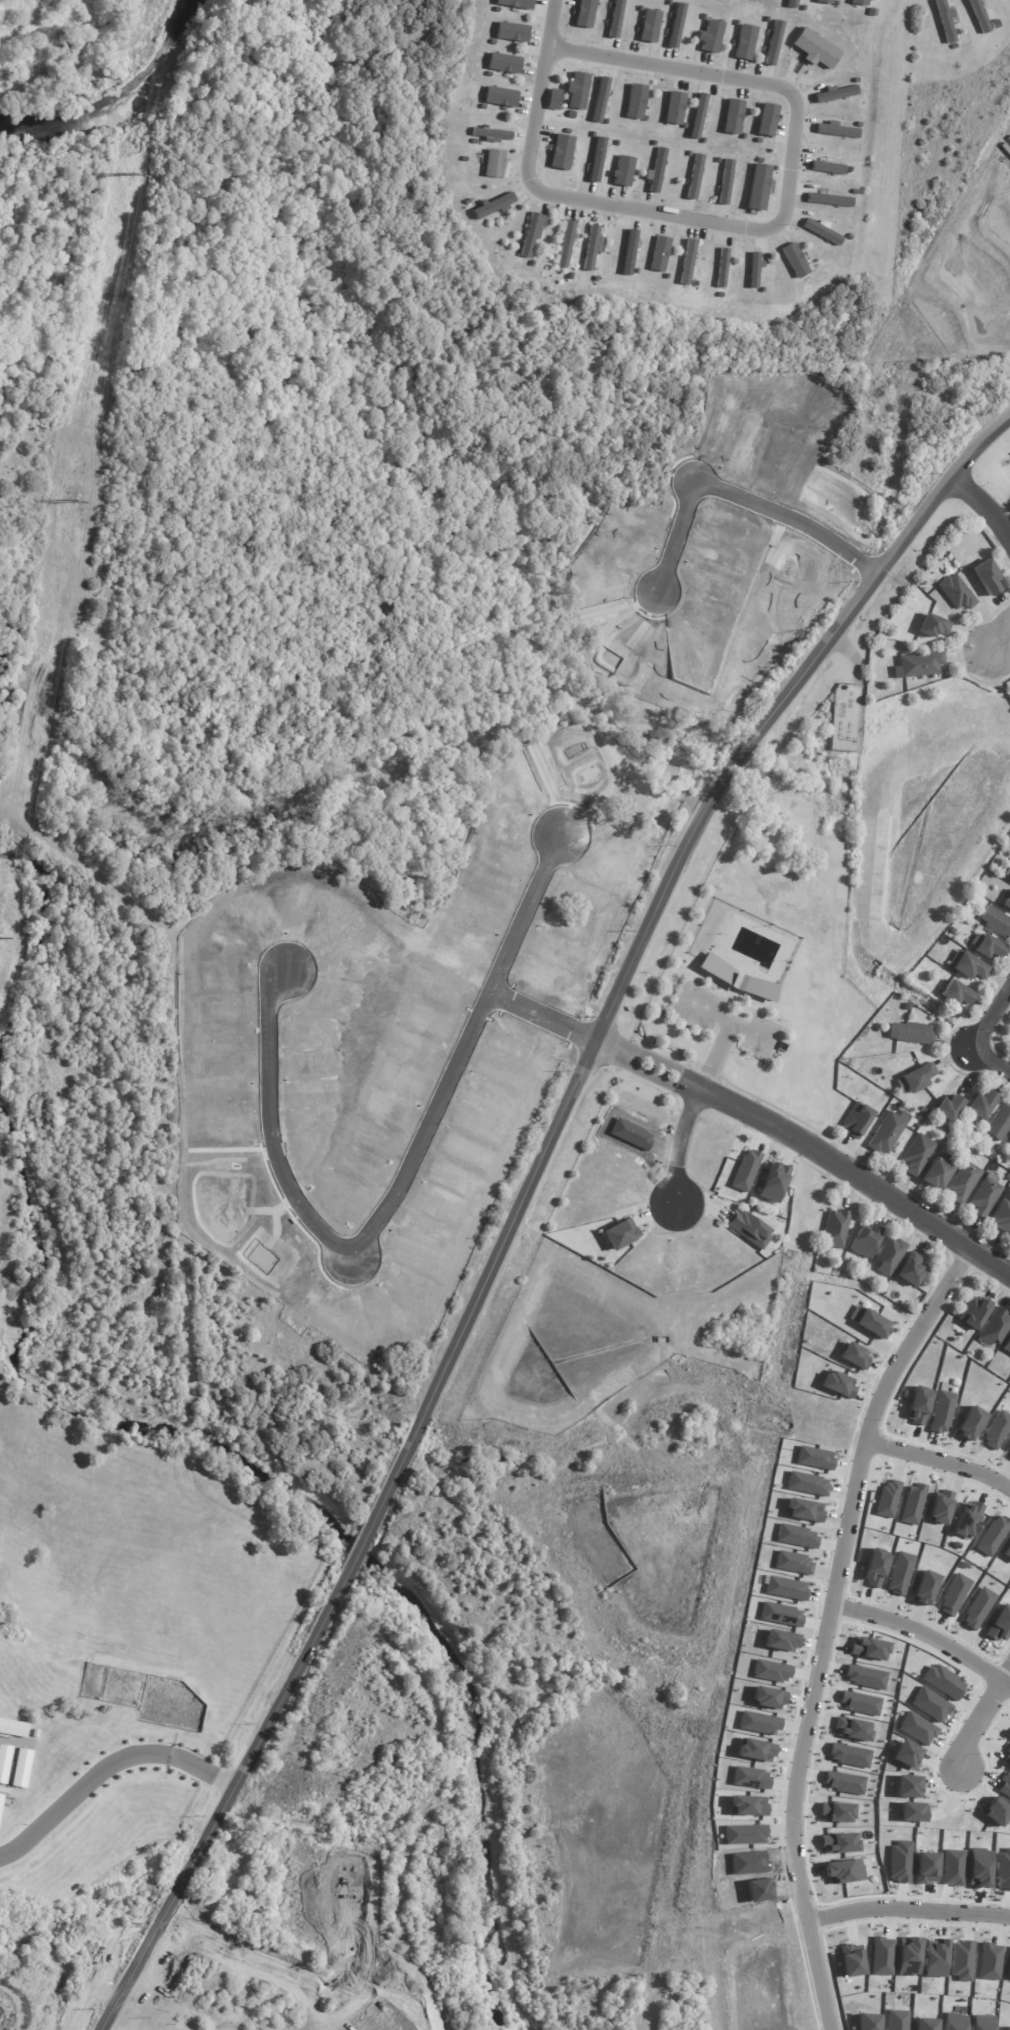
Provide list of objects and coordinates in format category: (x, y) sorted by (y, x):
building: (825, 1)
building: (860, 2)
building: (516, 4)
building: (792, 4)
building: (584, 13)
building: (978, 16)
building: (615, 19)
building: (945, 22)
building: (675, 25)
building: (649, 26)
building: (512, 32)
building: (711, 36)
building: (745, 42)
building: (773, 43)
building: (815, 48)
building: (504, 63)
road: (538, 89)
building: (577, 90)
building: (836, 93)
building: (500, 97)
building: (553, 99)
building: (600, 99)
building: (635, 101)
building: (674, 108)
building: (697, 116)
building: (733, 116)
building: (767, 120)
building: (837, 130)
building: (492, 135)
building: (1006, 147)
building: (561, 152)
building: (596, 160)
building: (494, 163)
road: (788, 164)
building: (828, 167)
building: (623, 171)
building: (655, 171)
building: (694, 176)
building: (725, 181)
building: (758, 187)
building: (829, 199)
building: (493, 205)
building: (821, 230)
building: (532, 232)
building: (565, 244)
building: (590, 247)
building: (629, 252)
building: (659, 254)
building: (794, 260)
building: (687, 262)
building: (722, 268)
building: (754, 270)
road: (744, 488)
road: (987, 506)
building: (987, 577)
building: (956, 593)
building: (933, 626)
road: (997, 633)
building: (907, 652)
building: (919, 666)
building: (1009, 879)
building: (1007, 906)
building: (996, 923)
building: (988, 949)
road: (504, 964)
building: (970, 969)
building: (955, 996)
road: (992, 1020)
building: (914, 1034)
road: (992, 1059)
building: (916, 1080)
building: (981, 1106)
building: (949, 1109)
building: (856, 1122)
building: (1000, 1124)
building: (888, 1133)
road: (682, 1144)
building: (1009, 1145)
road: (810, 1146)
building: (964, 1148)
building: (918, 1156)
building: (746, 1170)
building: (937, 1175)
building: (774, 1182)
building: (963, 1184)
building: (985, 1199)
road: (521, 1202)
building: (1001, 1221)
building: (750, 1228)
building: (836, 1228)
building: (620, 1234)
building: (865, 1240)
road: (355, 1241)
building: (687, 1249)
building: (676, 1252)
building: (890, 1256)
building: (911, 1269)
building: (675, 1276)
building: (975, 1312)
building: (872, 1323)
building: (995, 1327)
building: (1007, 1346)
building: (854, 1356)
building: (838, 1384)
building: (918, 1405)
building: (942, 1413)
building: (970, 1423)
building: (996, 1431)
building: (1008, 1453)
building: (814, 1458)
road: (940, 1460)
building: (807, 1484)
building: (888, 1499)
building: (912, 1504)
building: (941, 1507)
building: (804, 1510)
building: (968, 1520)
building: (993, 1535)
building: (797, 1537)
building: (1007, 1551)
building: (793, 1563)
building: (875, 1567)
building: (900, 1574)
building: (786, 1588)
building: (925, 1588)
building: (954, 1595)
building: (978, 1609)
building: (781, 1615)
building: (1000, 1624)
road: (824, 1627)
road: (924, 1634)
building: (781, 1641)
building: (869, 1649)
building: (771, 1671)
building: (865, 1677)
building: (943, 1682)
building: (768, 1698)
building: (860, 1704)
building: (930, 1705)
road: (978, 1714)
building: (759, 1723)
building: (13, 1728)
building: (852, 1729)
building: (917, 1729)
building: (755, 1750)
building: (906, 1755)
building: (850, 1756)
building: (1006, 1758)
building: (4, 1762)
building: (22, 1768)
road: (105, 1772)
building: (751, 1778)
building: (844, 1783)
building: (1005, 1786)
building: (908, 1787)
building: (1, 1801)
building: (748, 1806)
building: (996, 1811)
building: (837, 1812)
building: (911, 1812)
building: (745, 1835)
park: (359, 1840)
building: (838, 1843)
building: (844, 1872)
road: (906, 1905)
building: (882, 1957)
building: (909, 1957)
building: (935, 1959)
building: (851, 1961)
building: (962, 1961)
building: (990, 1962)
building: (1008, 1971)
building: (897, 2020)
building: (868, 2022)
building: (982, 2022)
building: (925, 2024)
building: (1009, 2028)
road: (100, 2029)

